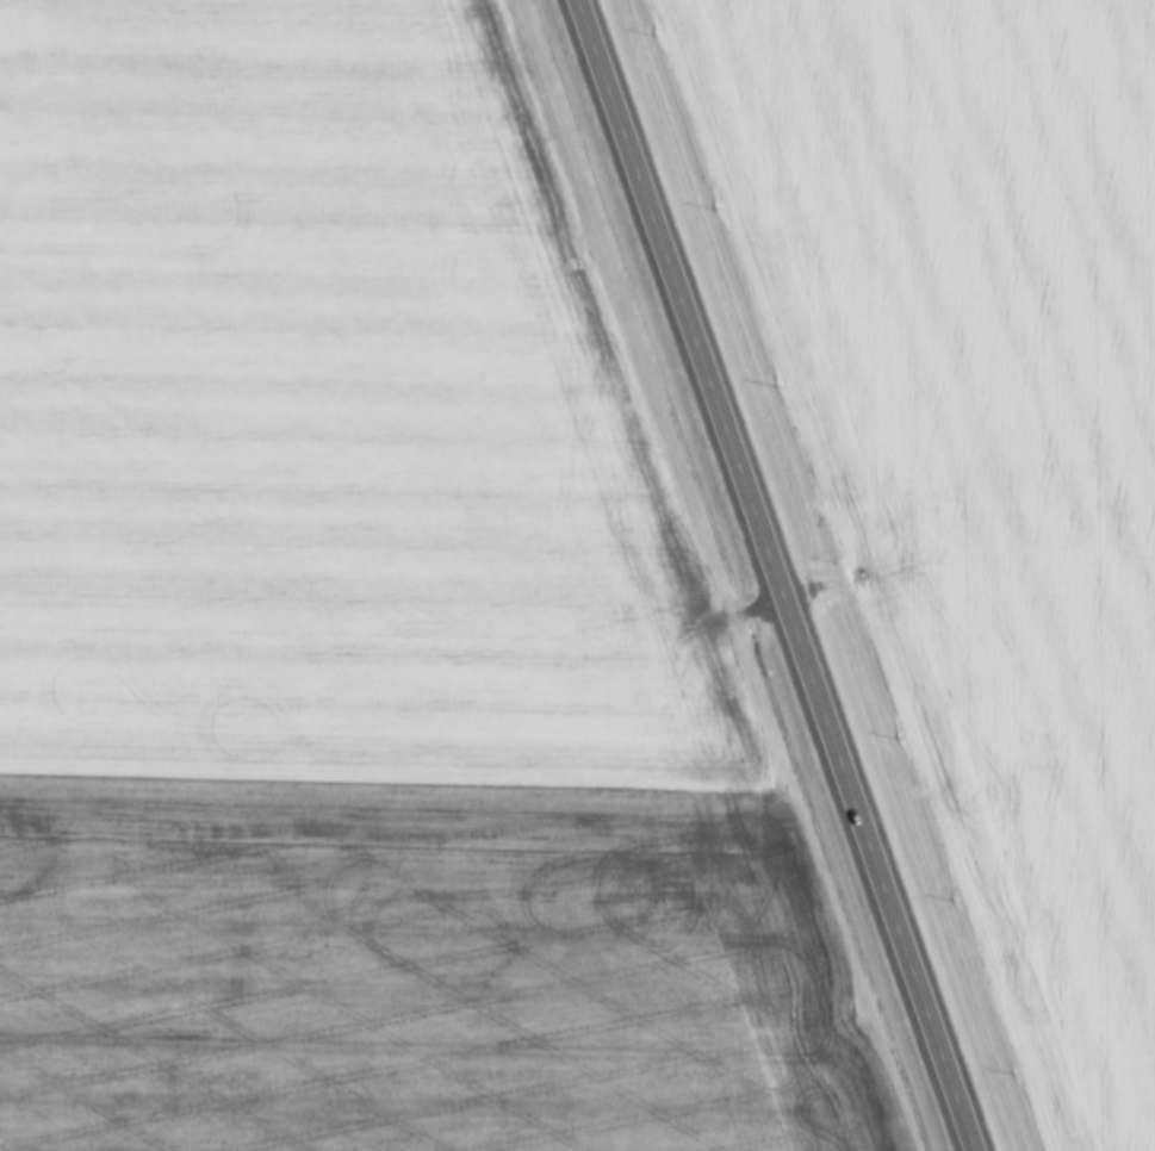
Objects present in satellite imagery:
road: (775, 574)

